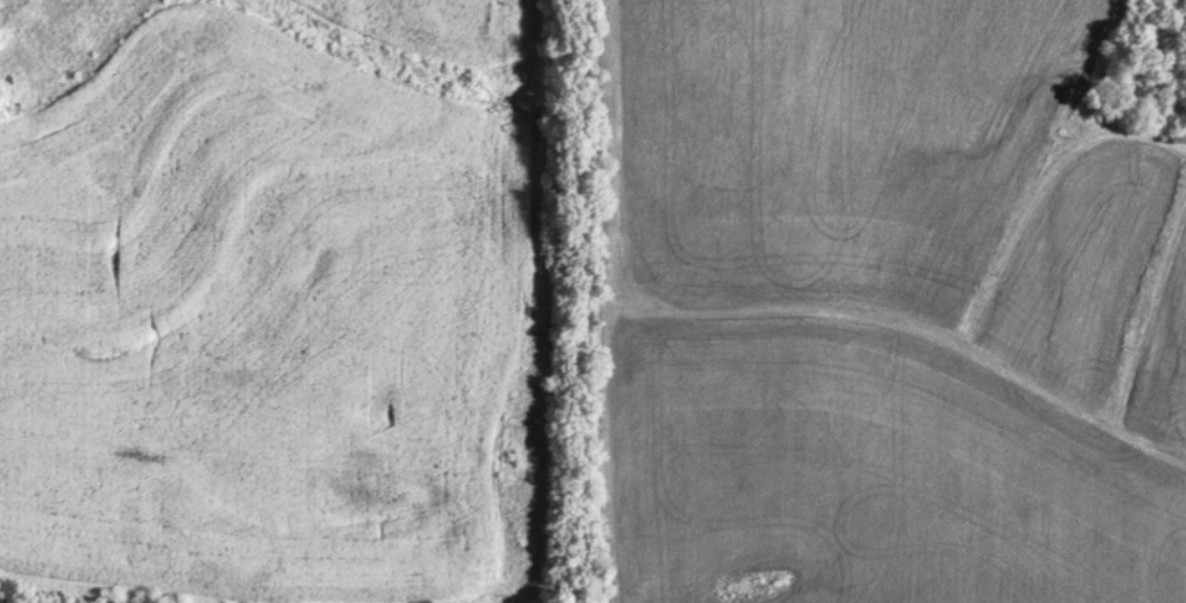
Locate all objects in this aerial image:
road: (615, 128)

